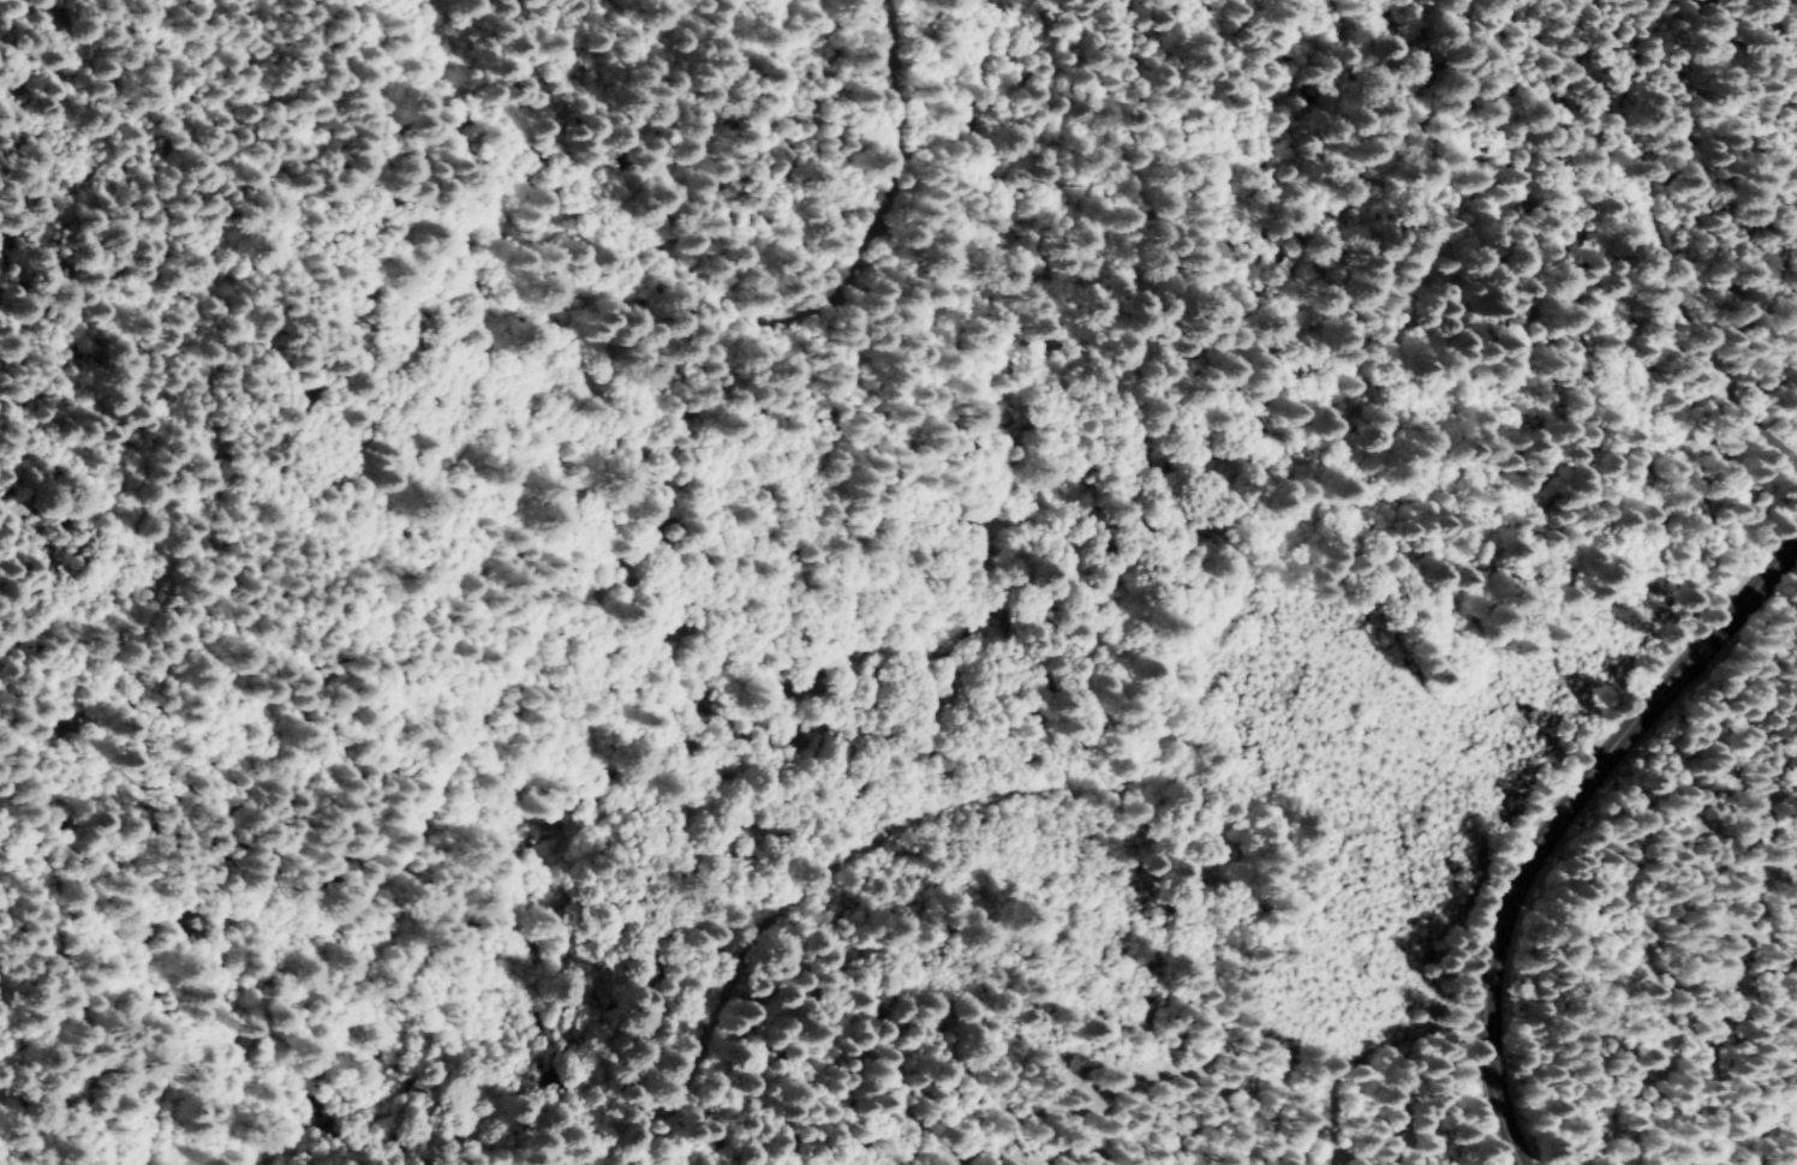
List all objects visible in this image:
road: (1650, 245)
road: (517, 424)
road: (1558, 822)

